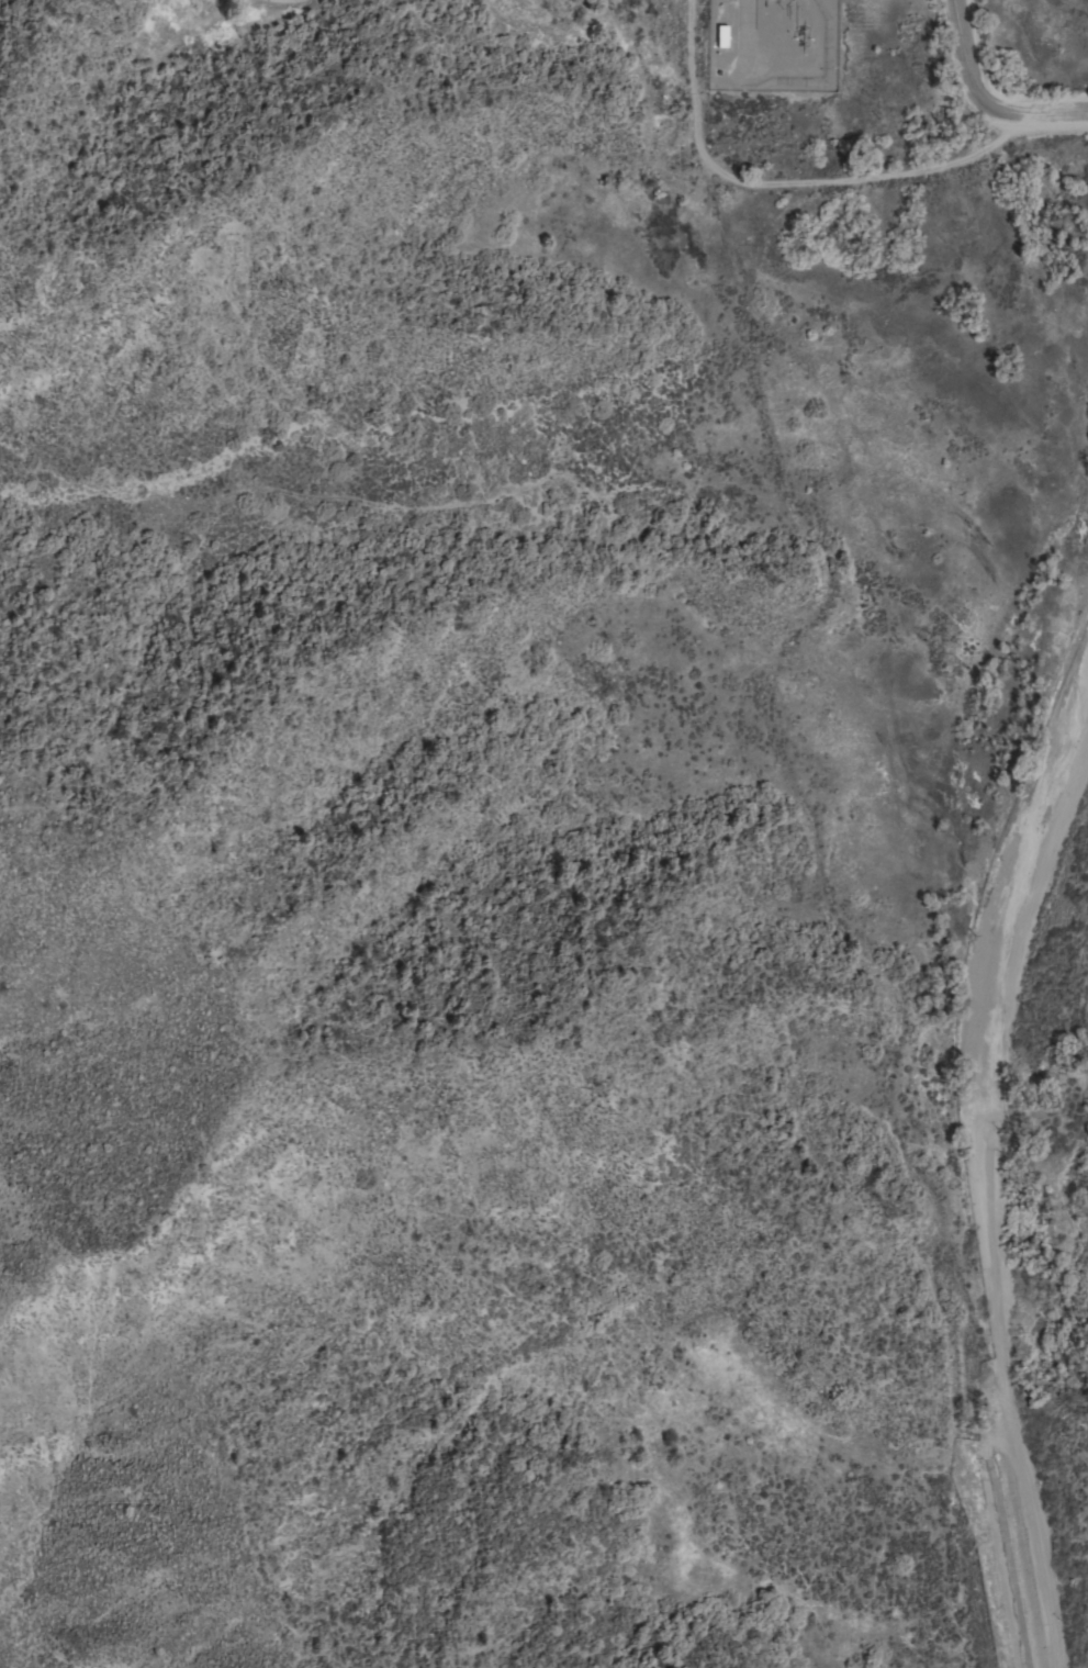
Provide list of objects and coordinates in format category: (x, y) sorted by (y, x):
building: (720, 36)
road: (987, 97)
road: (793, 178)
road: (718, 201)
road: (798, 799)
power tower: (895, 1216)

